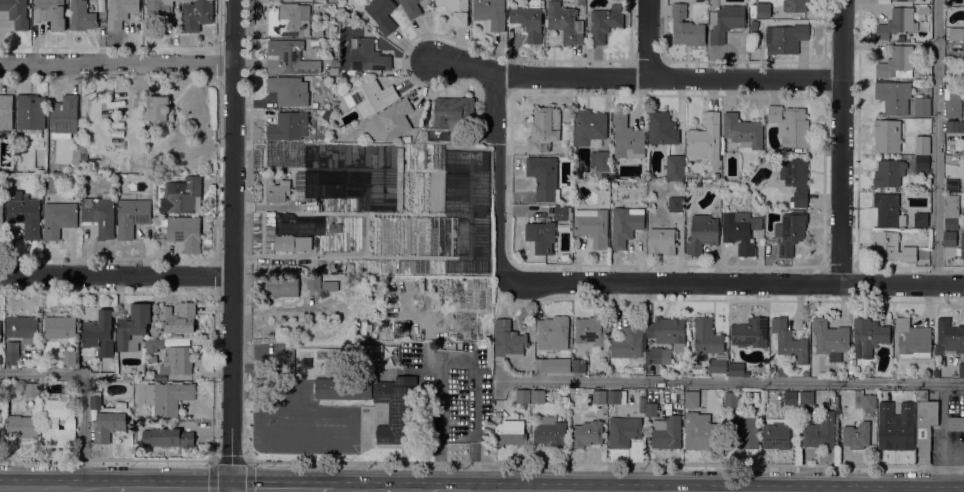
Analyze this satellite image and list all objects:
building: (899, 0)
building: (793, 5)
building: (411, 7)
building: (763, 9)
building: (456, 10)
building: (16, 12)
building: (50, 12)
building: (120, 12)
building: (490, 12)
building: (156, 13)
building: (196, 14)
building: (382, 14)
building: (81, 16)
building: (312, 16)
building: (528, 19)
building: (290, 20)
building: (724, 21)
building: (564, 22)
building: (604, 22)
building: (896, 22)
building: (754, 25)
building: (686, 26)
building: (317, 30)
building: (956, 33)
road: (648, 37)
building: (785, 38)
building: (314, 42)
road: (131, 47)
road: (217, 47)
building: (314, 51)
building: (963, 52)
building: (367, 54)
building: (289, 57)
road: (116, 61)
building: (897, 62)
road: (219, 65)
building: (334, 71)
road: (634, 76)
road: (40, 80)
road: (217, 83)
building: (288, 90)
building: (372, 96)
building: (893, 96)
building: (952, 100)
building: (922, 106)
building: (159, 108)
building: (6, 111)
building: (453, 111)
building: (31, 114)
building: (63, 116)
building: (389, 121)
building: (790, 125)
building: (954, 125)
building: (288, 126)
building: (588, 126)
building: (662, 127)
building: (543, 128)
building: (742, 130)
building: (887, 135)
building: (627, 137)
building: (705, 137)
building: (406, 138)
road: (841, 141)
road: (936, 142)
building: (922, 144)
building: (82, 149)
building: (323, 155)
building: (83, 156)
building: (600, 163)
building: (921, 163)
building: (674, 166)
building: (888, 172)
road: (499, 176)
building: (544, 177)
building: (420, 178)
building: (795, 179)
building: (49, 185)
building: (951, 185)
building: (279, 191)
building: (182, 195)
building: (565, 196)
building: (675, 203)
building: (888, 209)
building: (951, 210)
building: (560, 212)
building: (1, 213)
building: (25, 213)
building: (99, 214)
building: (132, 215)
building: (58, 217)
building: (920, 219)
building: (299, 223)
building: (625, 224)
building: (593, 225)
building: (334, 226)
building: (740, 230)
building: (183, 231)
building: (790, 232)
building: (702, 233)
building: (541, 236)
building: (949, 238)
building: (662, 240)
building: (291, 242)
road: (232, 245)
building: (892, 247)
building: (960, 247)
road: (197, 258)
road: (115, 275)
building: (314, 282)
road: (733, 282)
building: (282, 286)
building: (330, 286)
building: (314, 295)
road: (727, 299)
building: (179, 316)
building: (59, 326)
building: (133, 326)
building: (22, 327)
building: (591, 329)
building: (666, 329)
building: (552, 332)
building: (750, 332)
building: (870, 333)
building: (97, 335)
building: (830, 336)
building: (950, 336)
building: (629, 338)
building: (508, 339)
building: (913, 339)
building: (789, 340)
building: (710, 343)
building: (154, 344)
building: (12, 352)
building: (363, 354)
building: (658, 355)
building: (68, 356)
building: (152, 358)
building: (175, 360)
road: (456, 360)
building: (552, 364)
building: (578, 364)
road: (260, 367)
building: (736, 369)
building: (961, 369)
building: (636, 370)
building: (783, 372)
building: (805, 372)
building: (936, 372)
building: (102, 375)
road: (214, 375)
road: (731, 379)
road: (289, 387)
building: (342, 387)
building: (1, 388)
building: (31, 388)
road: (83, 388)
building: (679, 394)
road: (251, 395)
building: (523, 395)
building: (537, 395)
building: (599, 396)
building: (616, 396)
building: (167, 397)
building: (790, 397)
building: (806, 397)
building: (691, 398)
building: (731, 398)
building: (869, 401)
building: (137, 407)
road: (350, 408)
building: (651, 408)
building: (397, 409)
building: (106, 417)
building: (58, 421)
building: (955, 423)
building: (924, 424)
building: (21, 425)
building: (895, 425)
building: (745, 429)
building: (550, 431)
building: (623, 431)
building: (666, 431)
building: (700, 431)
building: (820, 431)
building: (509, 433)
building: (587, 433)
building: (856, 434)
building: (775, 435)
building: (167, 436)
road: (213, 458)
road: (230, 460)
road: (249, 460)
road: (607, 463)
road: (41, 488)
road: (115, 488)
road: (188, 488)
traffic signals: (231, 489)
road: (274, 489)
road: (336, 490)
road: (396, 490)
road: (455, 491)
road: (540, 491)

